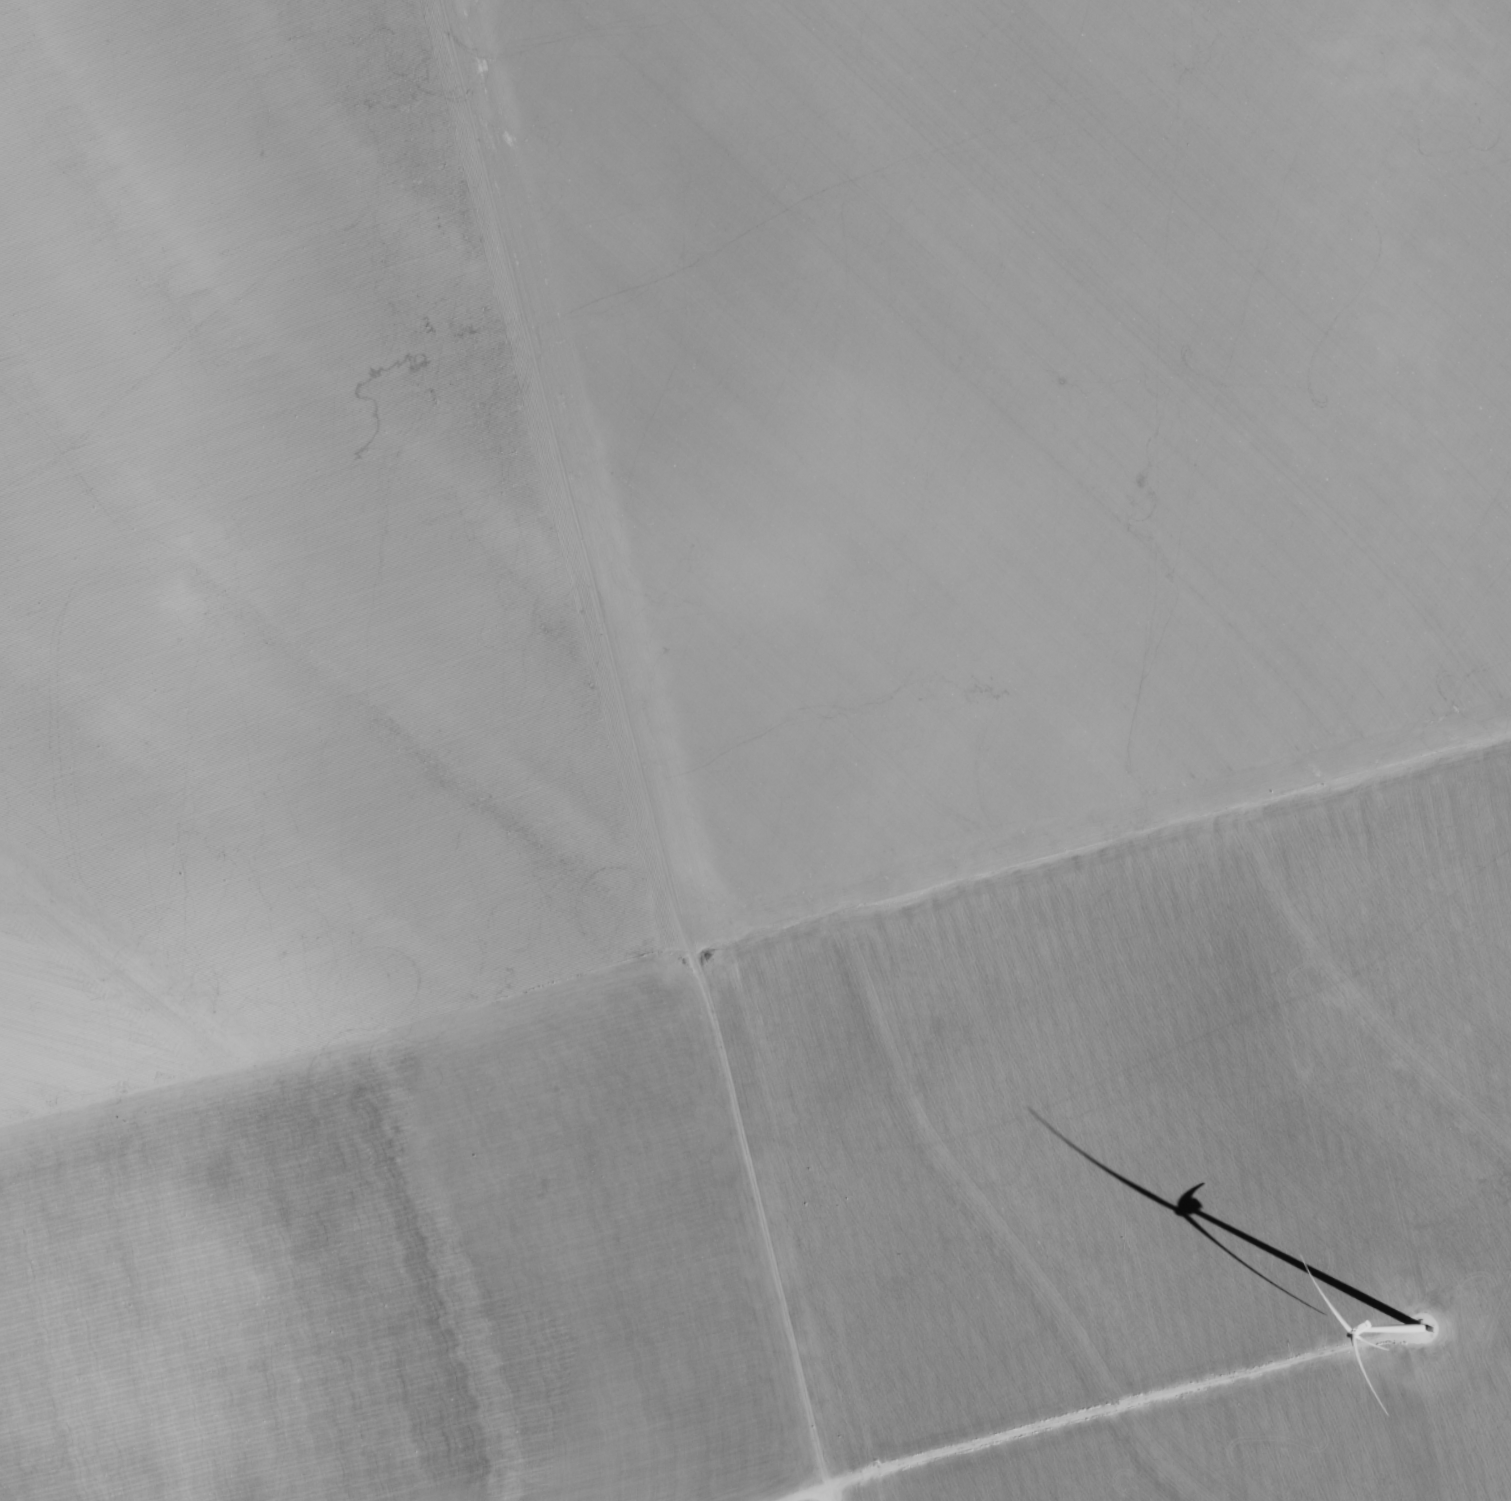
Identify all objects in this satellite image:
wind turbine: (1420, 1327)

